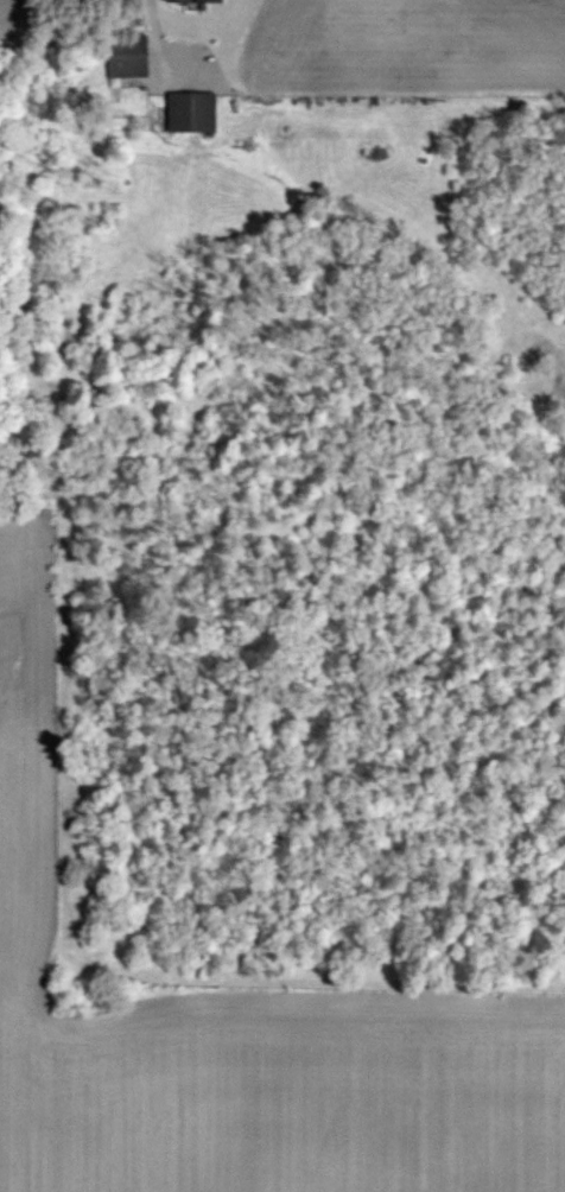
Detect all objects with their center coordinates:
building: (193, 0)
road: (152, 26)
building: (127, 55)
building: (191, 110)

